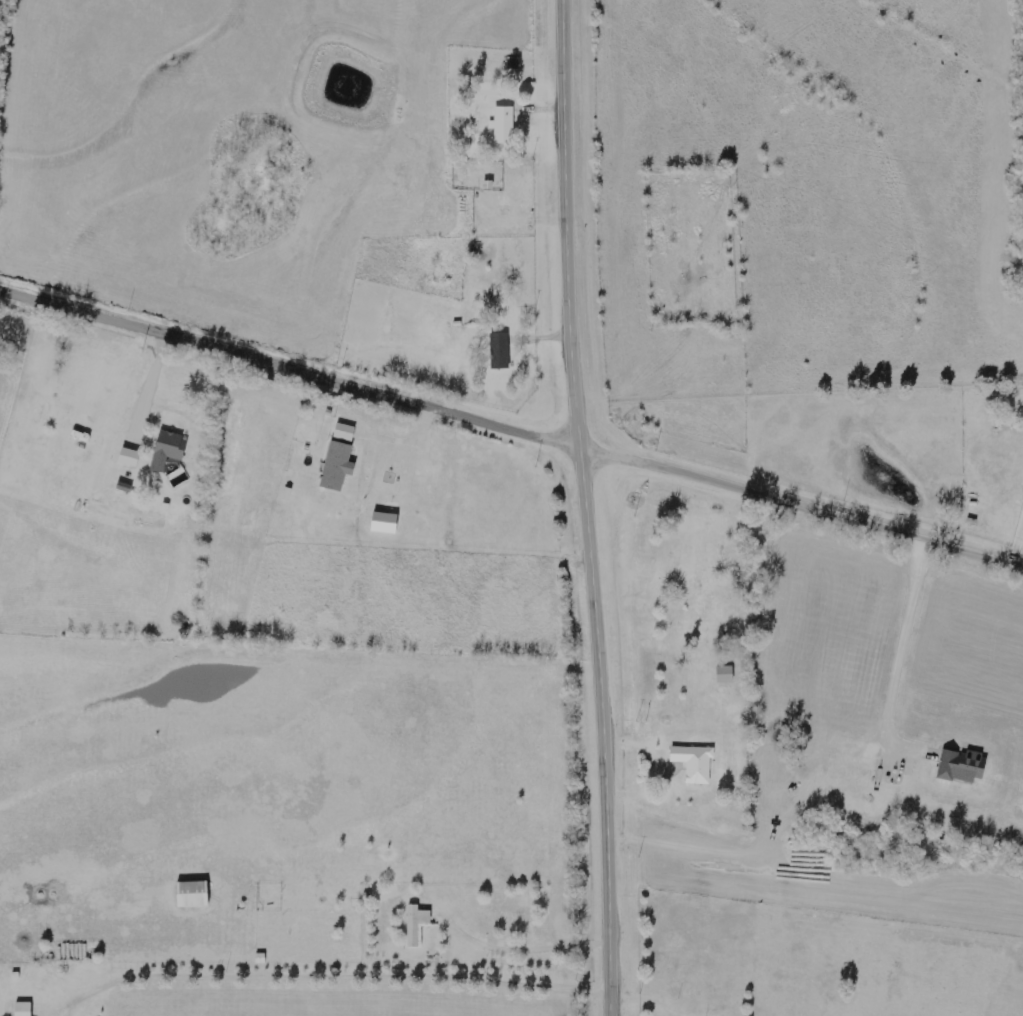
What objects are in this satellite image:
building: (503, 124)
building: (500, 350)
road: (289, 369)
building: (344, 431)
building: (167, 449)
building: (337, 466)
road: (801, 506)
road: (582, 508)
building: (725, 674)
building: (694, 762)
building: (962, 765)
building: (192, 893)
building: (416, 923)
road: (519, 950)
road: (337, 977)
building: (23, 1009)

